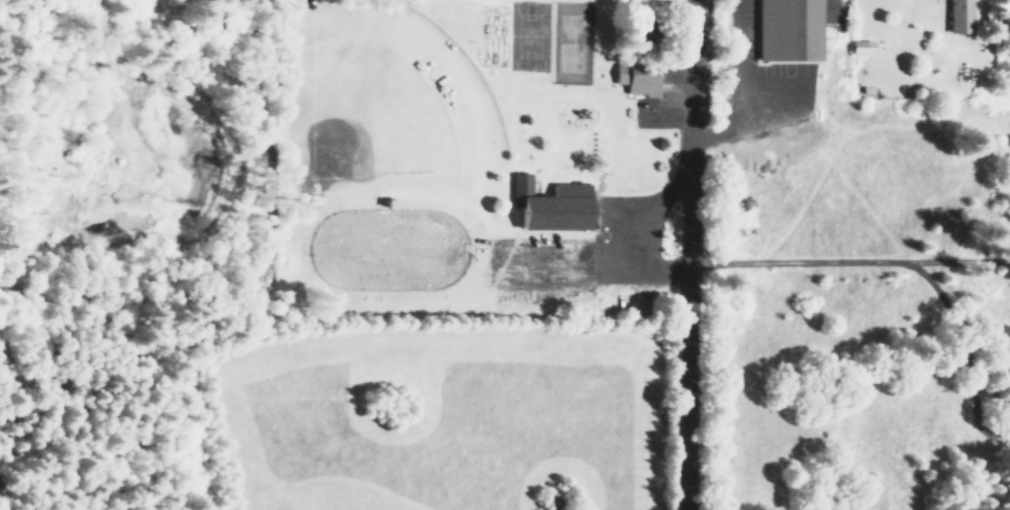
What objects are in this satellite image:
road: (3, 4)
building: (959, 16)
building: (787, 29)
building: (860, 47)
building: (636, 78)
park: (478, 160)
road: (700, 254)
road: (855, 256)

